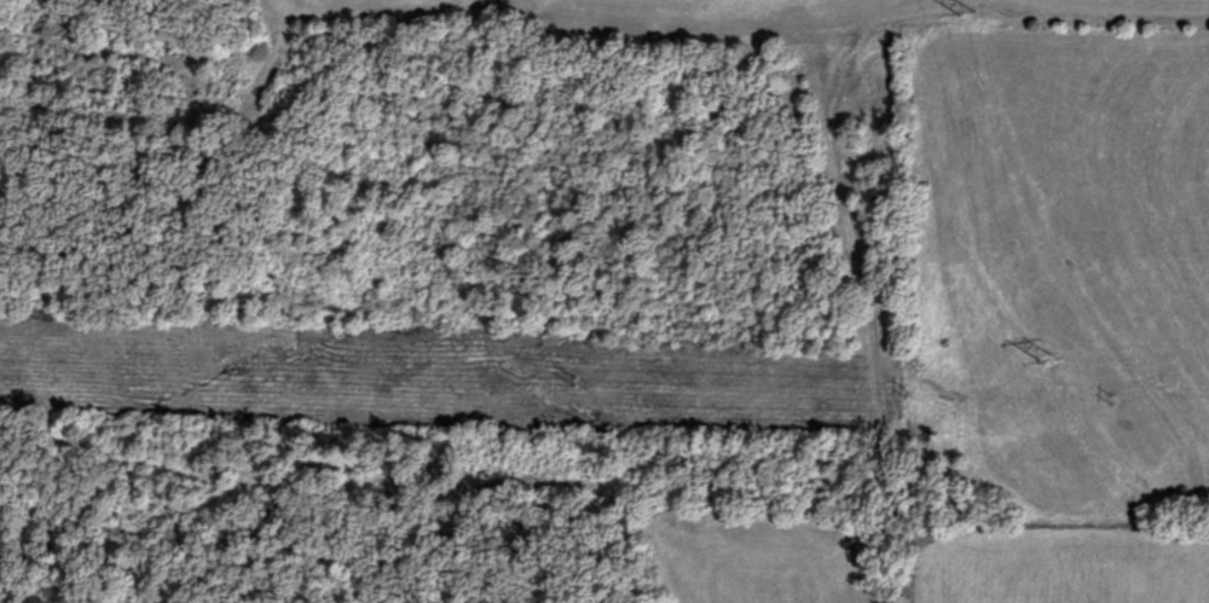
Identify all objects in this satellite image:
power tower: (967, 16)
power tower: (1048, 361)

